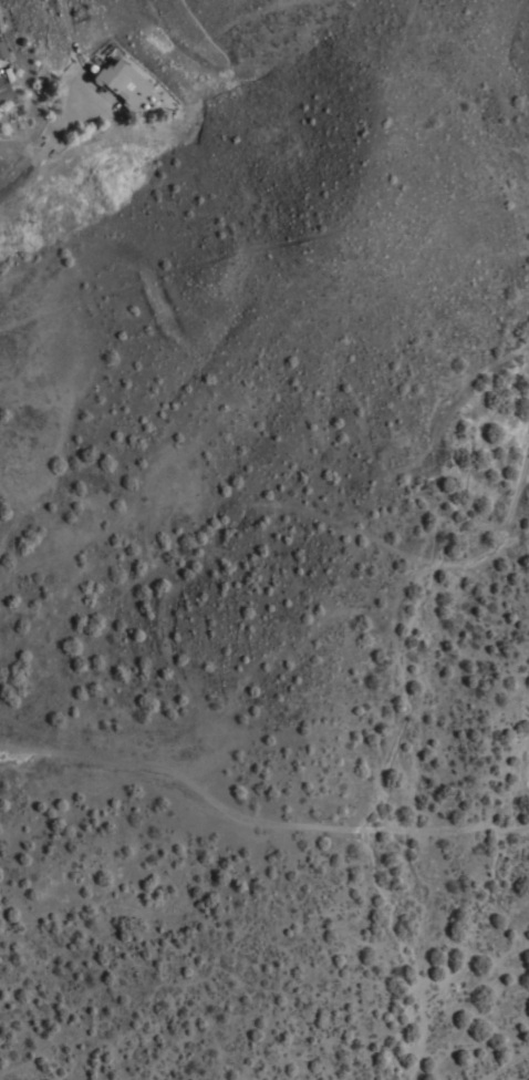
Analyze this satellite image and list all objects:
building: (1, 25)
building: (2, 48)
building: (122, 82)
building: (4, 91)
building: (0, 103)
road: (45, 148)

